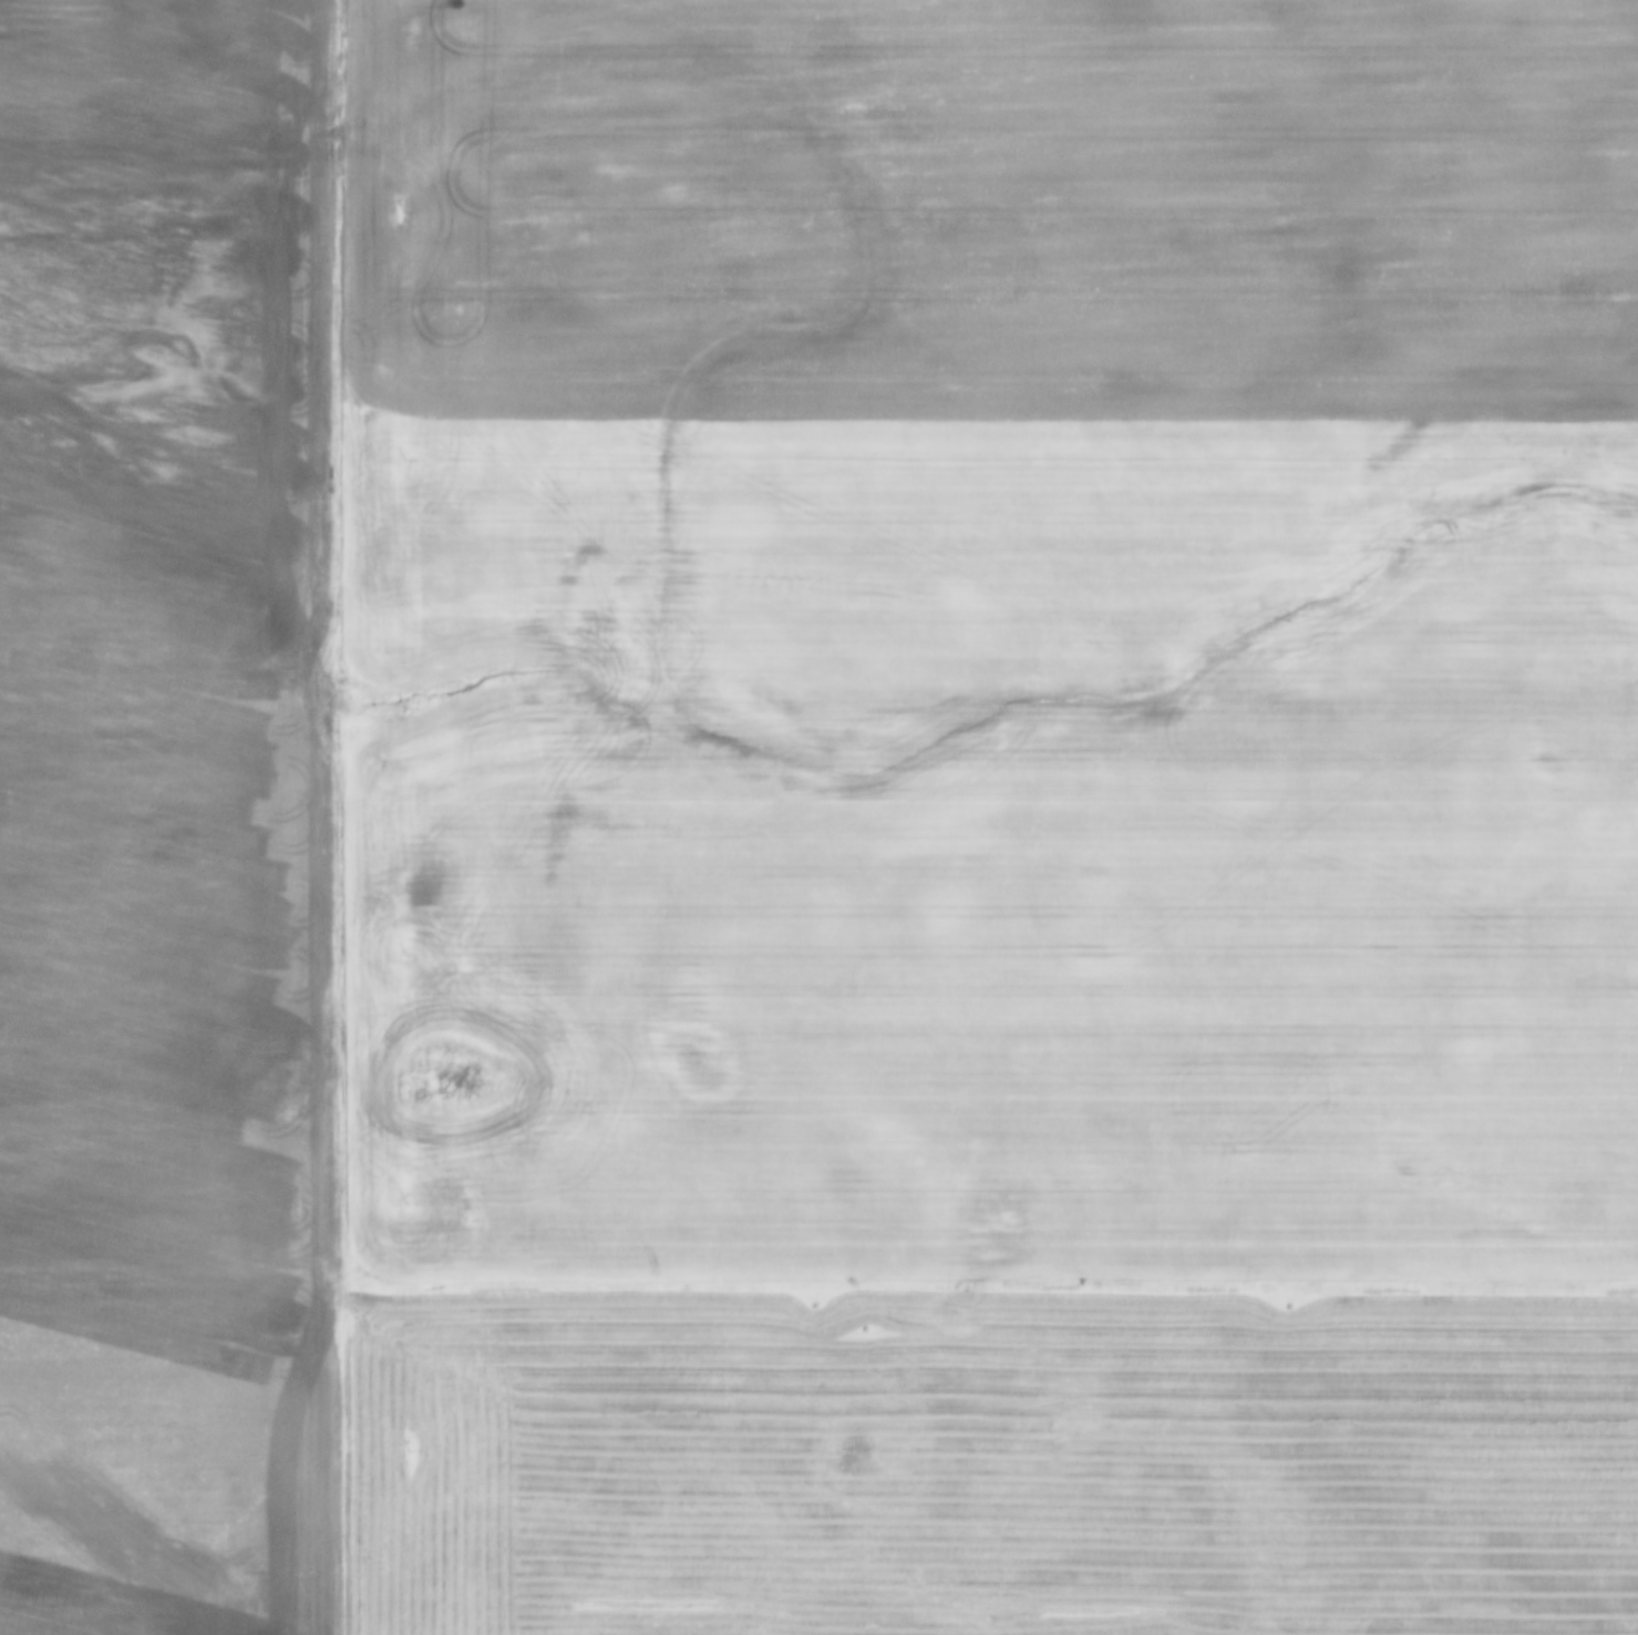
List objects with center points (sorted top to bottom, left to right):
road: (349, 816)

